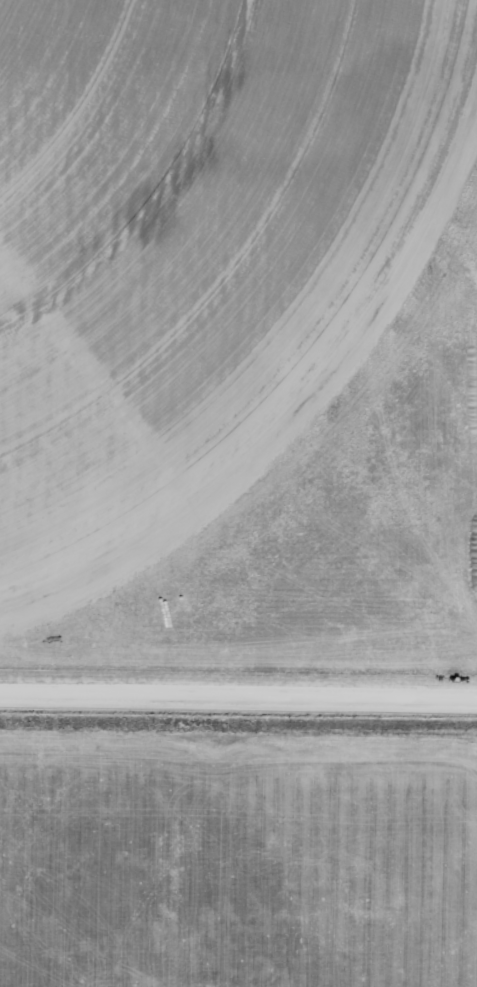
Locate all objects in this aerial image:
road: (238, 697)

